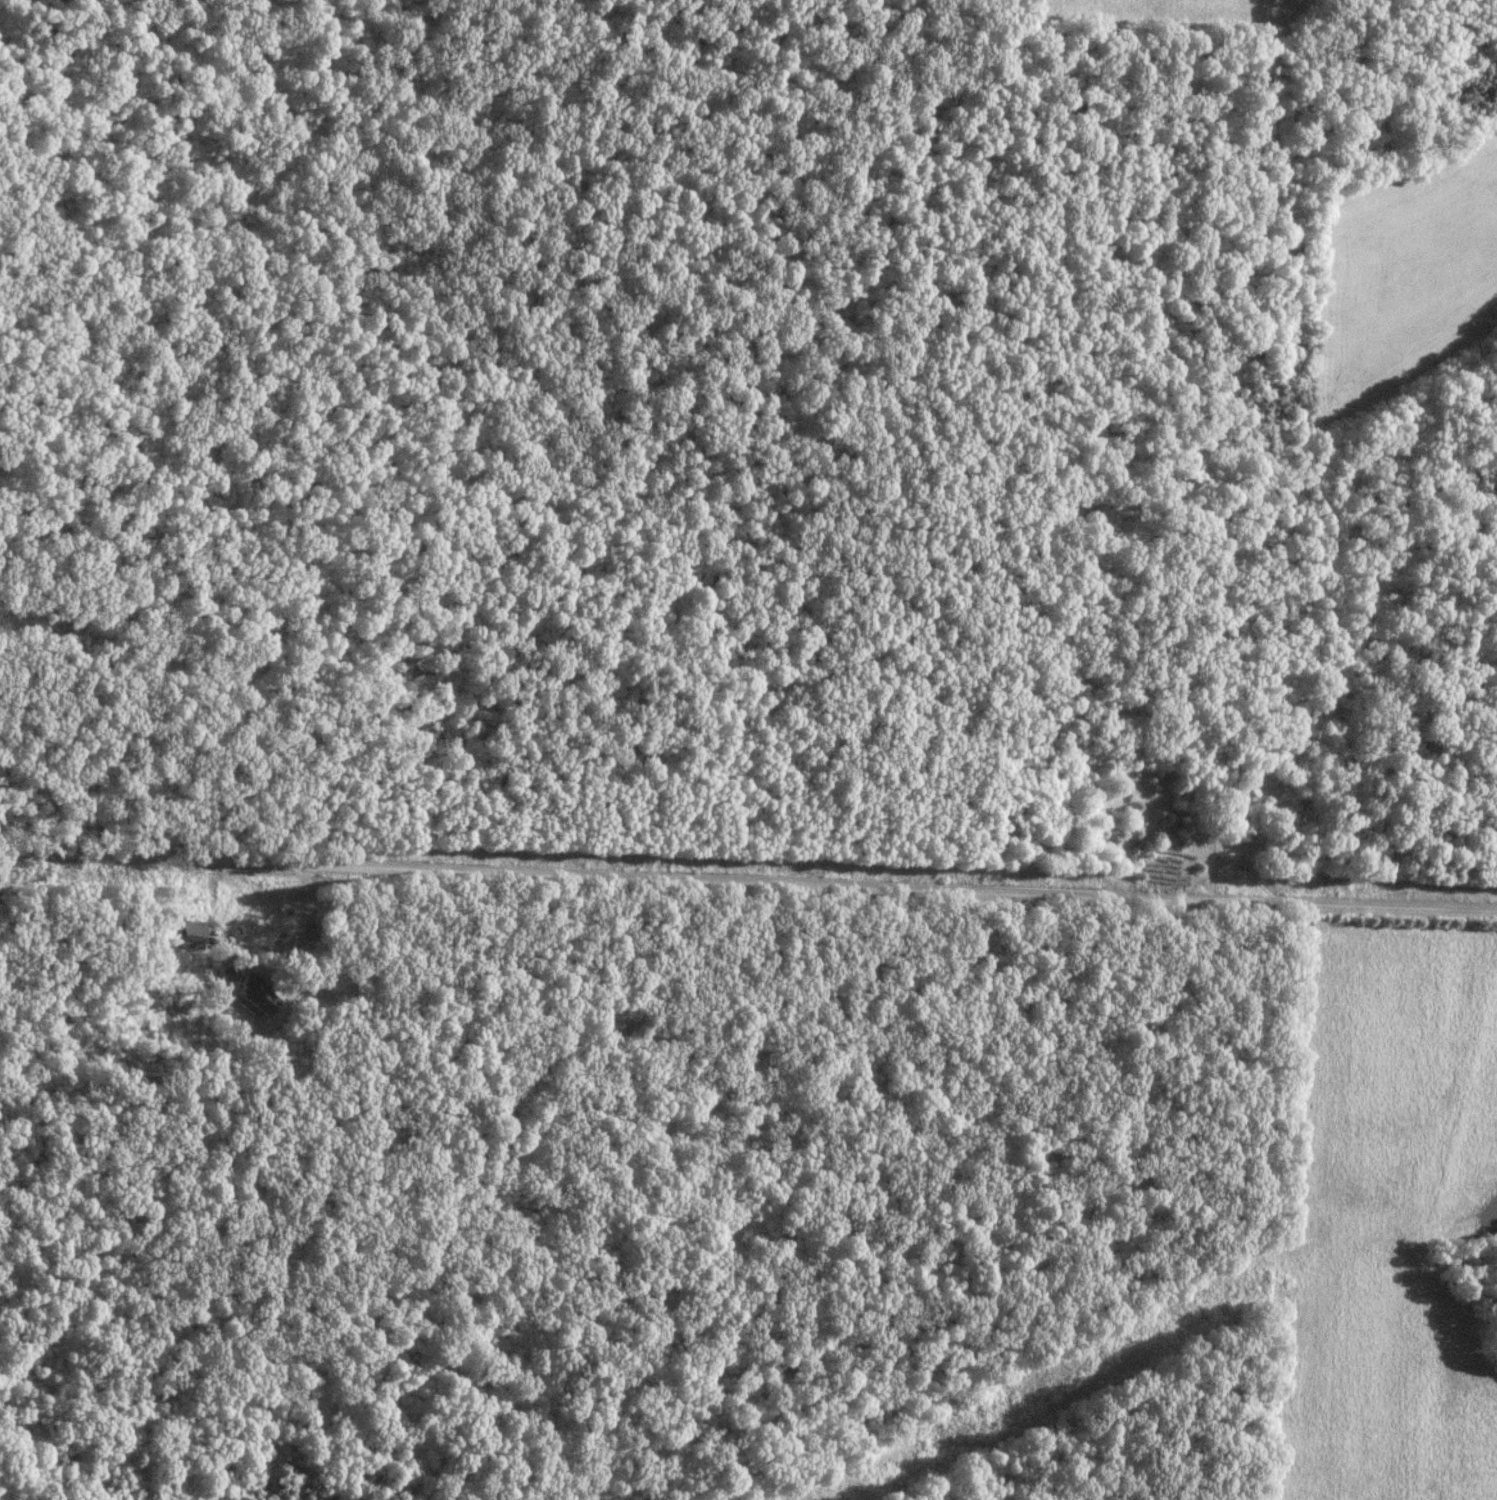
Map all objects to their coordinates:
road: (7, 864)
road: (748, 880)
building: (192, 937)
road: (261, 945)
building: (254, 996)

